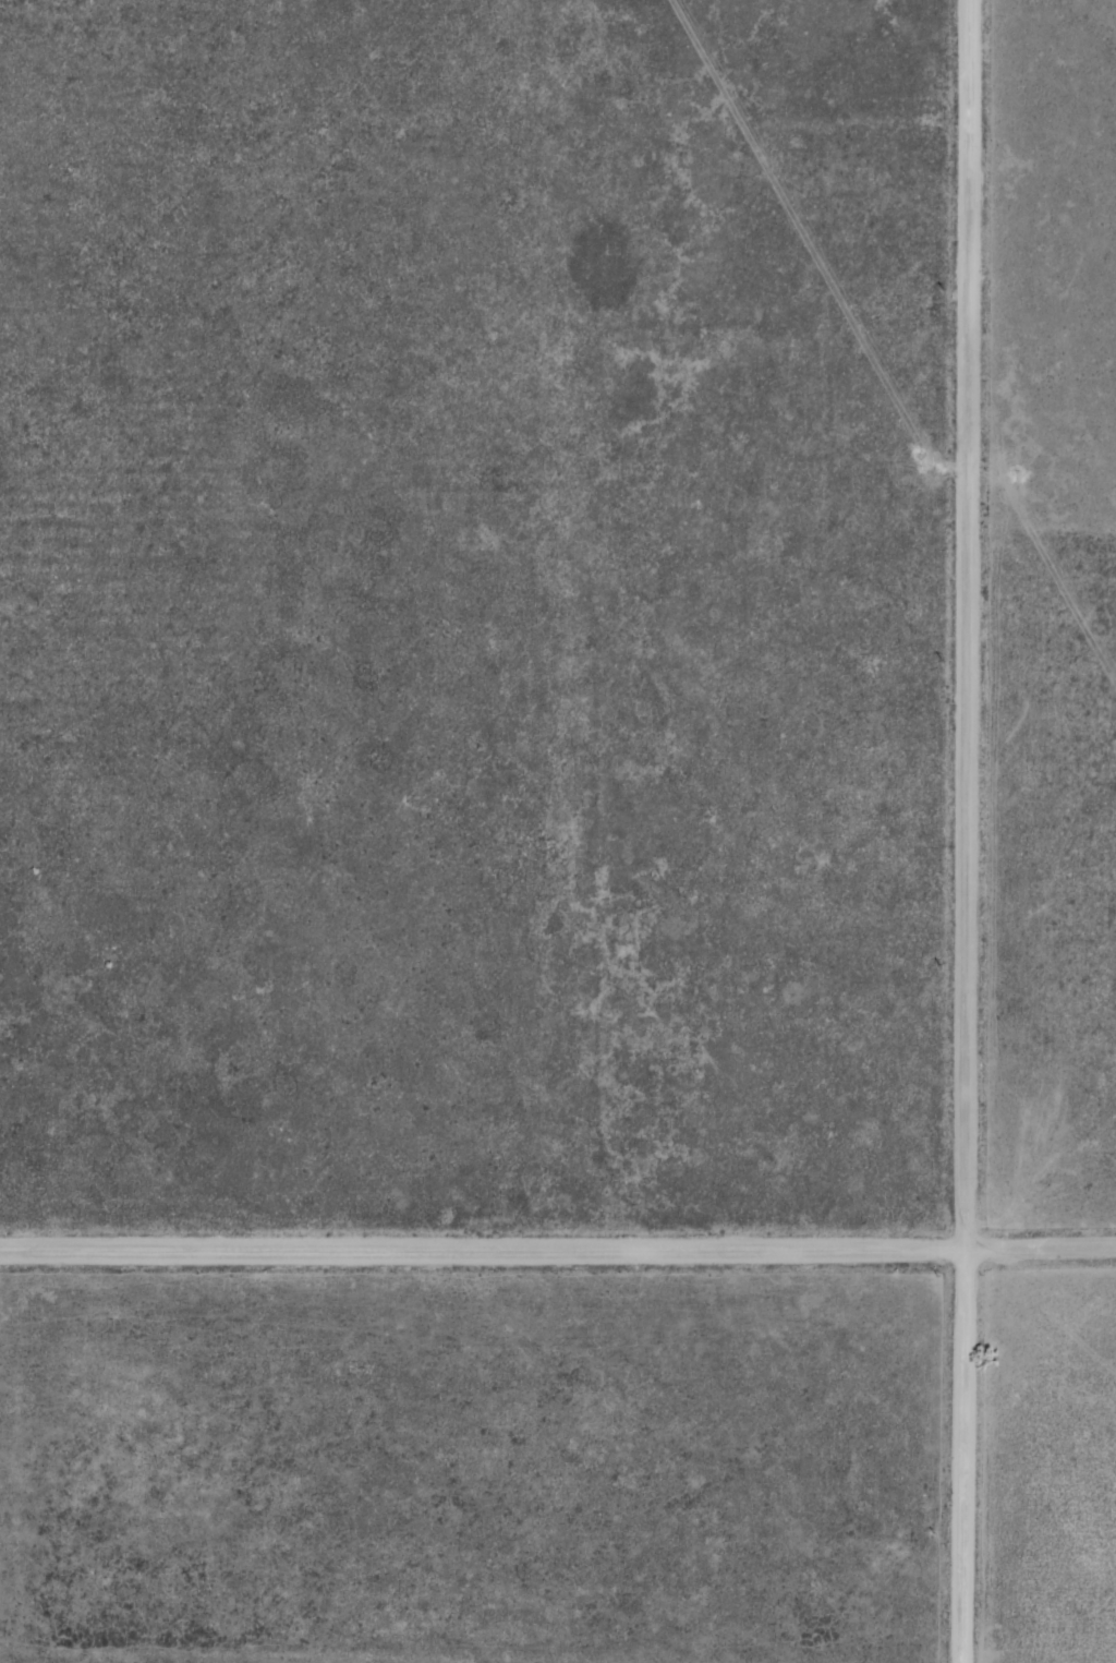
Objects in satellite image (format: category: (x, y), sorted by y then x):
road: (970, 831)
road: (558, 1257)

